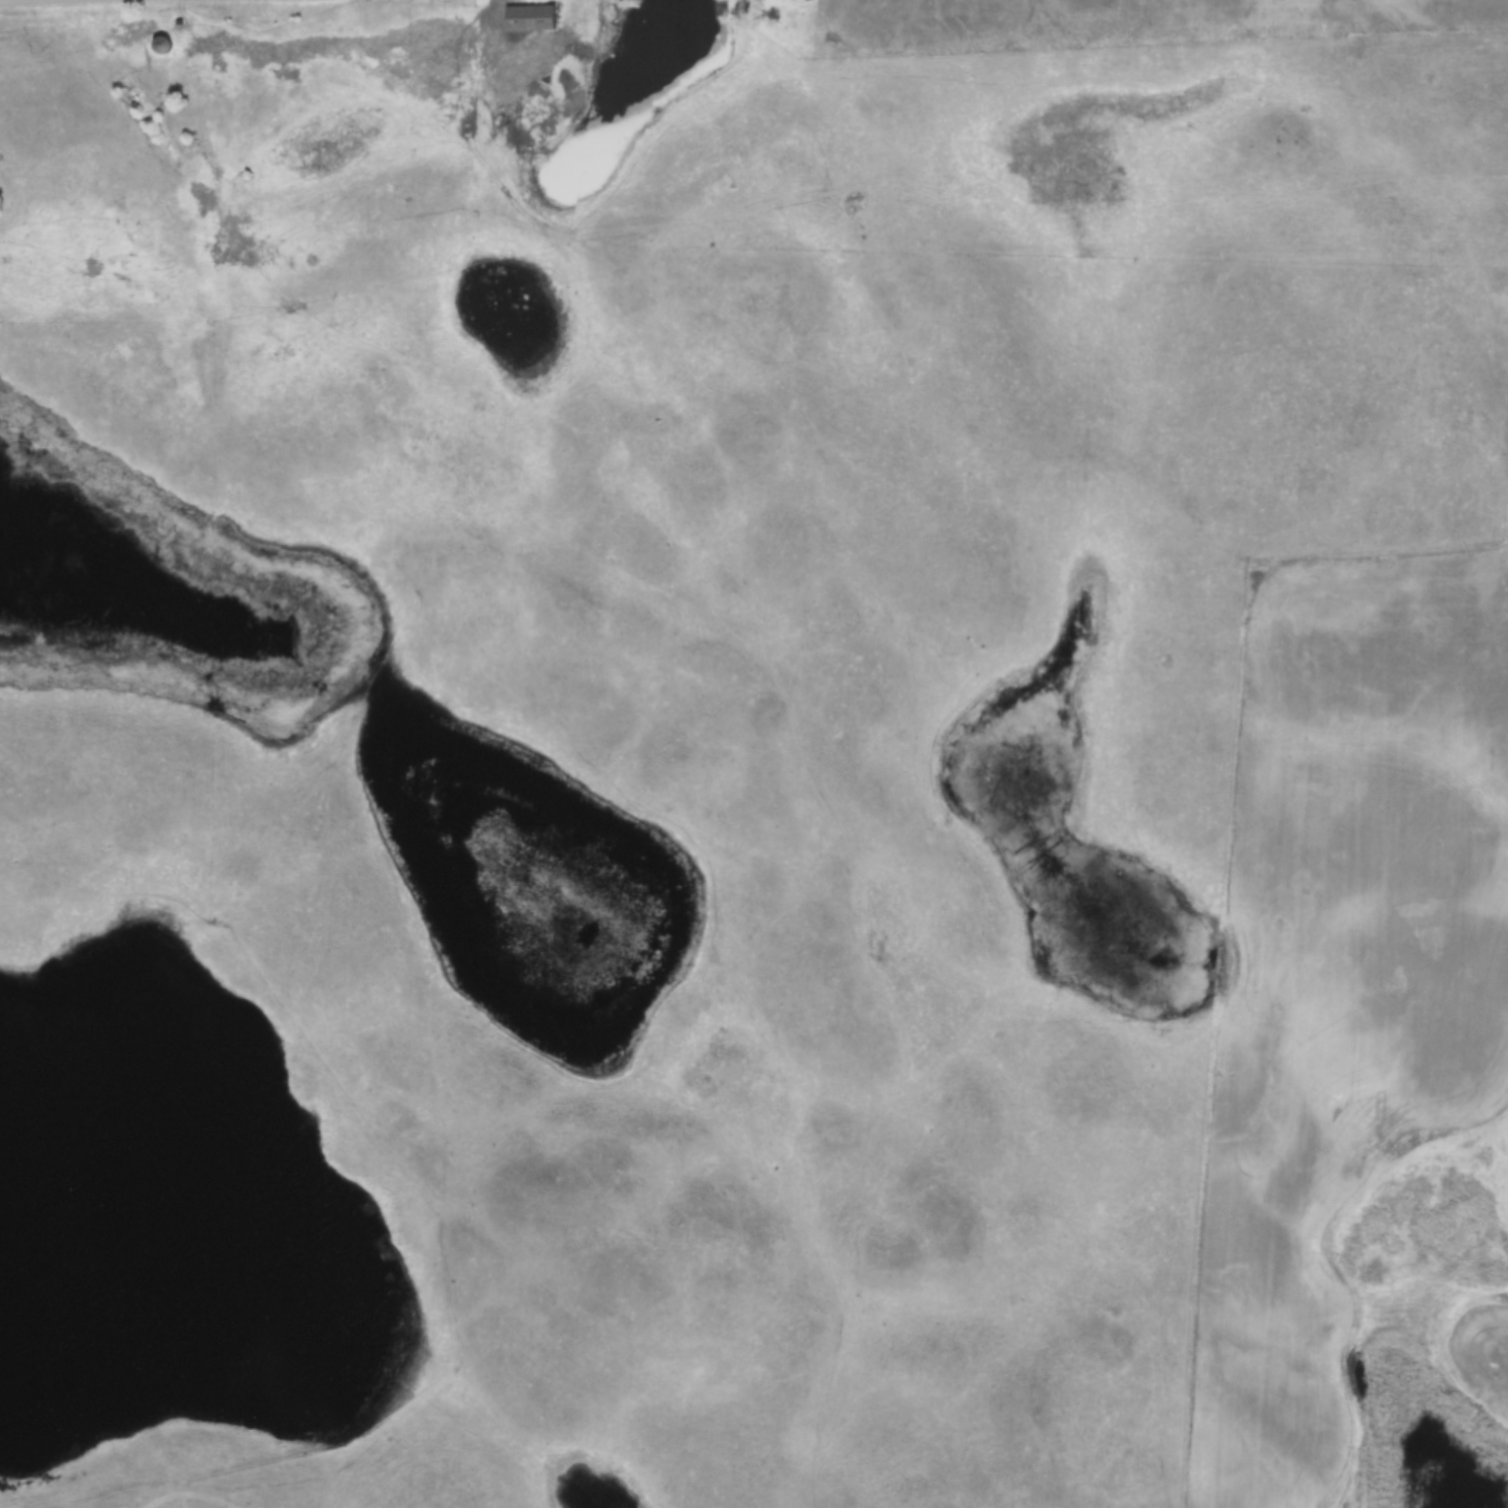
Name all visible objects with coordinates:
building: (529, 17)
building: (160, 46)

